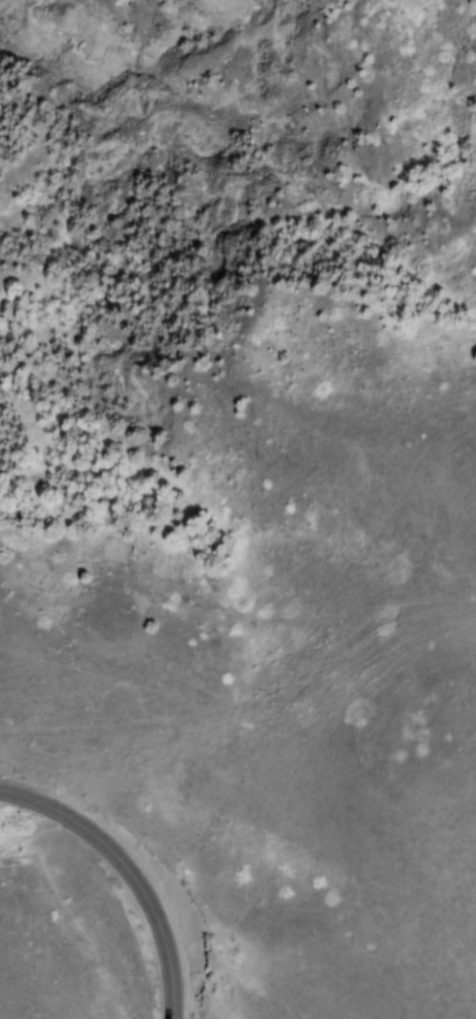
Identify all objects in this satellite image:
road: (128, 872)

